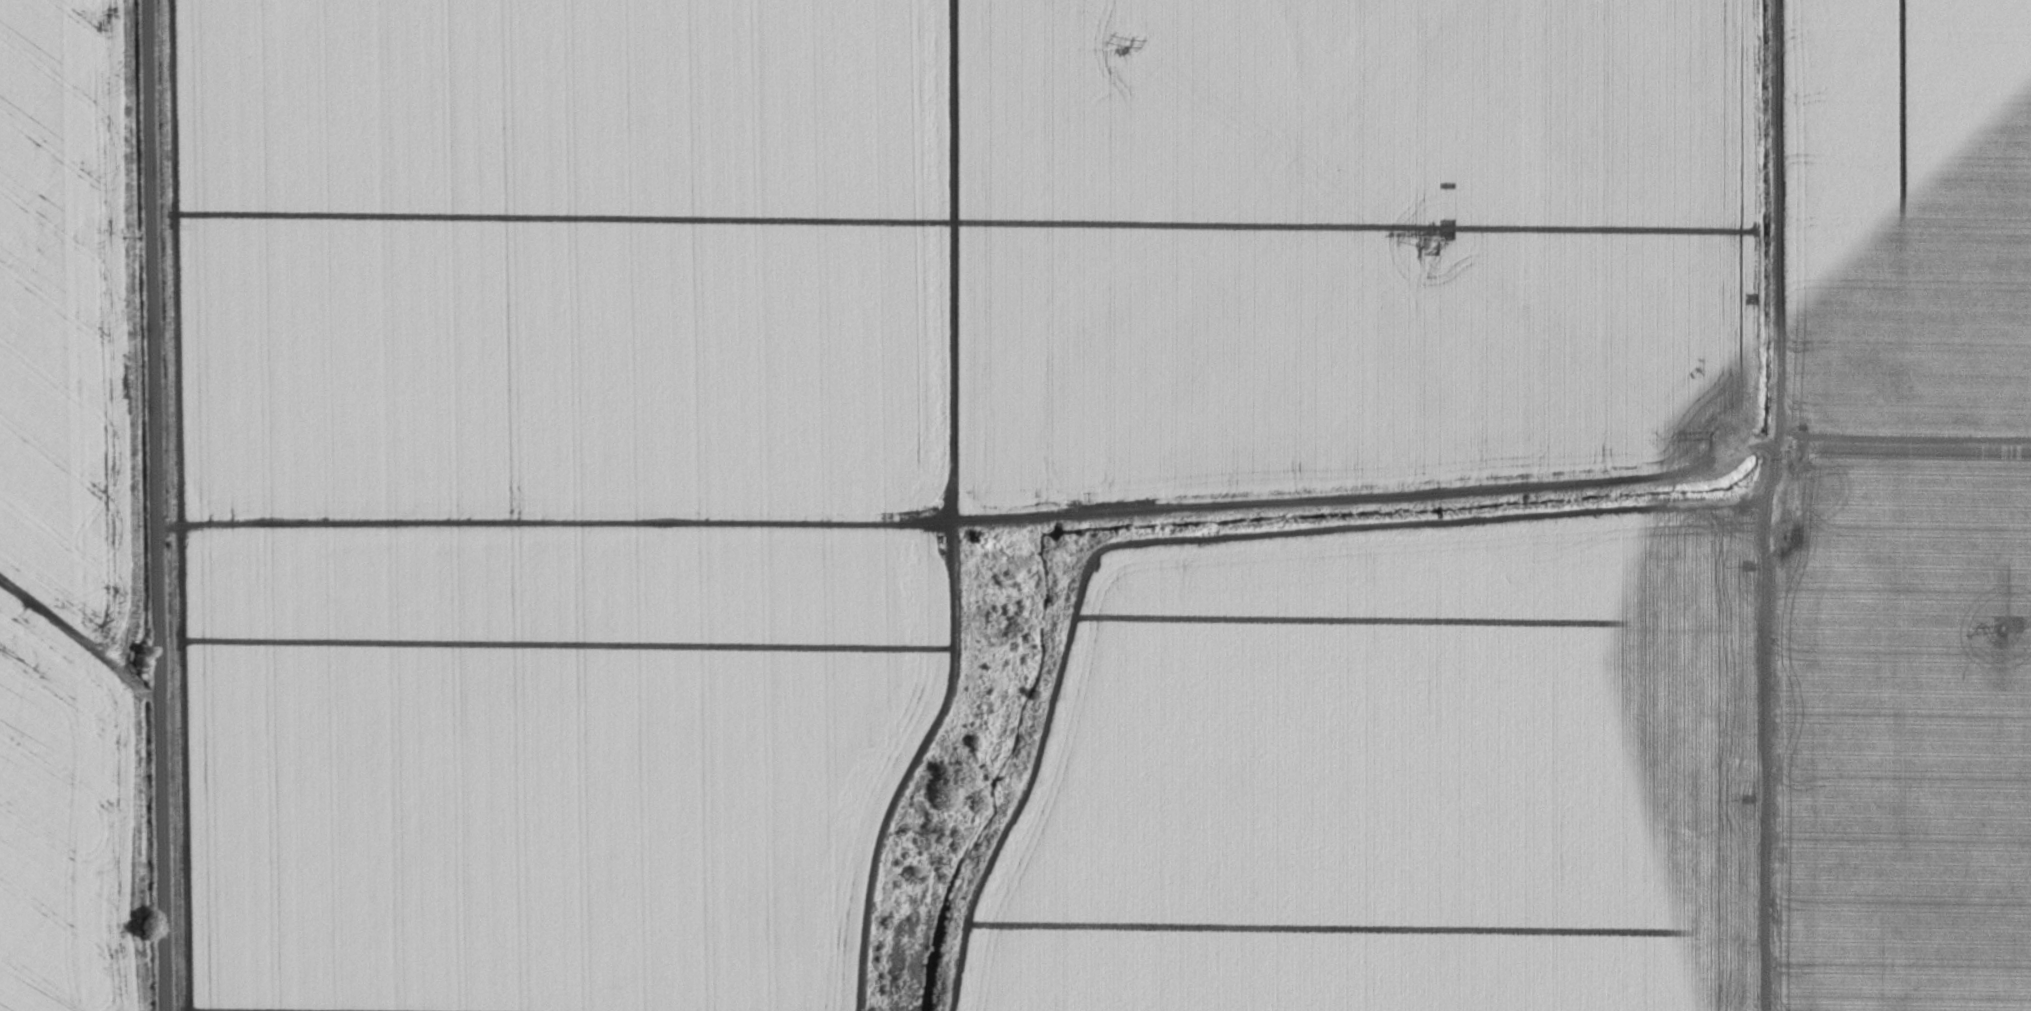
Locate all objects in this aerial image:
power tower: (1124, 43)
power tower: (1425, 242)
power tower: (1709, 430)
road: (148, 505)
power tower: (2001, 628)

